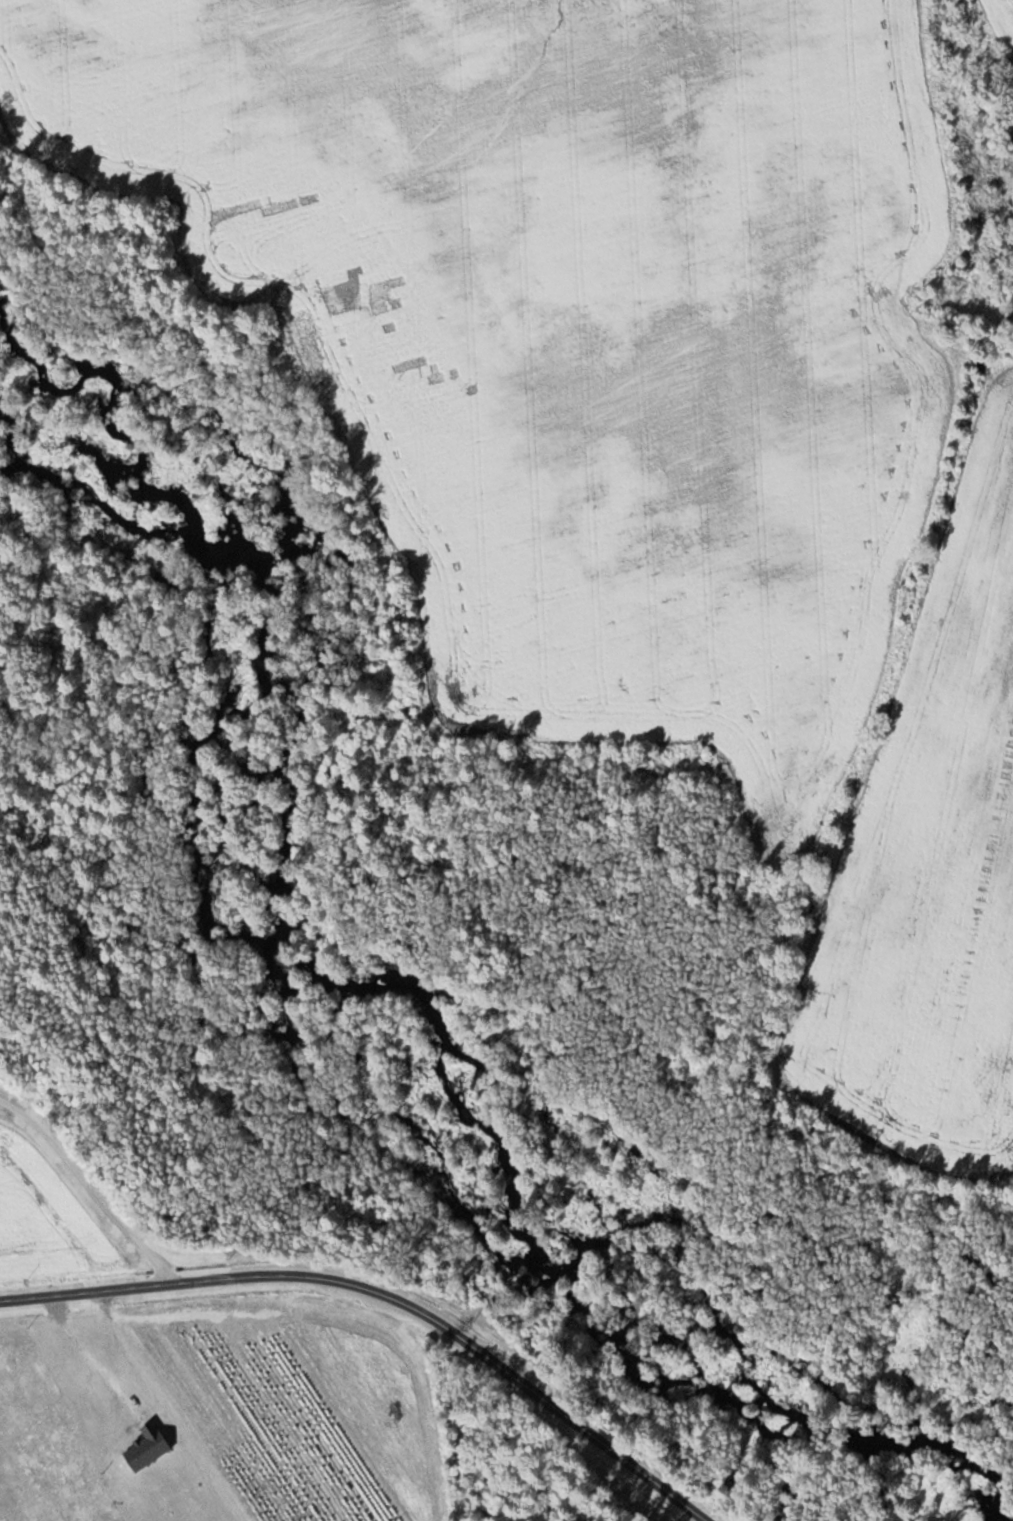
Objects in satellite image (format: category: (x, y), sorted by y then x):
road: (89, 1188)
road: (388, 1294)

